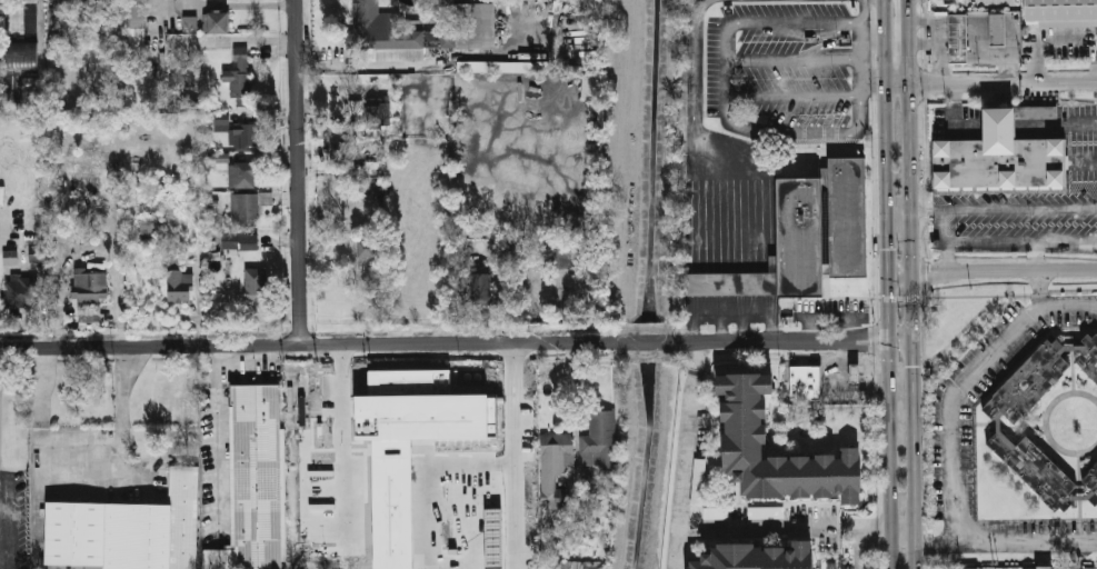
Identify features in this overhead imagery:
building: (62, 9)
building: (0, 10)
building: (1060, 11)
building: (137, 18)
building: (29, 19)
road: (923, 20)
building: (189, 23)
building: (219, 23)
building: (472, 27)
building: (997, 29)
road: (40, 33)
building: (387, 34)
road: (819, 34)
building: (958, 38)
road: (923, 41)
road: (828, 43)
road: (860, 46)
road: (1009, 49)
road: (940, 52)
building: (22, 54)
road: (794, 60)
road: (419, 63)
road: (692, 63)
parking lot: (778, 63)
building: (503, 67)
building: (240, 78)
road: (872, 83)
road: (990, 83)
building: (12, 89)
road: (728, 89)
building: (589, 90)
road: (792, 94)
building: (355, 108)
building: (1035, 112)
building: (378, 113)
road: (1057, 121)
road: (1000, 122)
road: (966, 123)
building: (1000, 124)
building: (236, 132)
building: (342, 152)
building: (219, 158)
building: (1001, 162)
parking lot: (1083, 163)
building: (372, 168)
road: (298, 171)
building: (245, 176)
road: (926, 183)
road: (770, 203)
road: (82, 206)
road: (1017, 208)
building: (248, 209)
road: (924, 209)
building: (122, 226)
building: (146, 227)
building: (824, 227)
road: (688, 229)
road: (695, 229)
road: (701, 229)
road: (938, 229)
road: (722, 232)
road: (716, 233)
road: (708, 234)
road: (736, 236)
road: (742, 236)
road: (750, 236)
road: (729, 238)
road: (764, 240)
road: (1021, 240)
building: (230, 241)
building: (251, 242)
road: (757, 242)
building: (368, 248)
traffic signals: (888, 249)
building: (39, 254)
road: (1036, 254)
building: (10, 258)
road: (947, 258)
road: (1068, 268)
road: (909, 270)
road: (965, 272)
traffic signals: (930, 276)
building: (180, 283)
building: (735, 283)
road: (888, 283)
building: (257, 284)
road: (875, 284)
building: (91, 286)
building: (482, 288)
building: (22, 292)
road: (987, 296)
road: (1067, 305)
parking lot: (829, 310)
building: (88, 313)
road: (735, 315)
road: (760, 315)
road: (714, 316)
road: (963, 329)
road: (740, 332)
road: (770, 332)
road: (692, 333)
road: (719, 333)
road: (792, 339)
traffic signals: (868, 339)
road: (642, 340)
road: (305, 343)
road: (698, 356)
building: (1088, 356)
traffic signals: (912, 366)
building: (857, 373)
gas station: (857, 373)
building: (807, 381)
building: (1030, 382)
road: (958, 392)
building: (748, 419)
road: (515, 423)
road: (220, 431)
building: (601, 439)
building: (410, 445)
building: (557, 456)
building: (1036, 469)
road: (682, 470)
building: (256, 481)
building: (698, 481)
building: (1090, 481)
road: (79, 483)
road: (485, 509)
building: (715, 512)
building: (767, 512)
parking lot: (19, 516)
road: (902, 525)
road: (767, 528)
building: (128, 530)
road: (859, 532)
road: (902, 541)
road: (1006, 546)
road: (917, 555)
building: (761, 556)
road: (373, 565)
building: (579, 565)
road: (355, 567)
building: (130, 568)
building: (830, 568)
building: (1019, 568)
building: (1051, 568)
building: (1073, 568)

